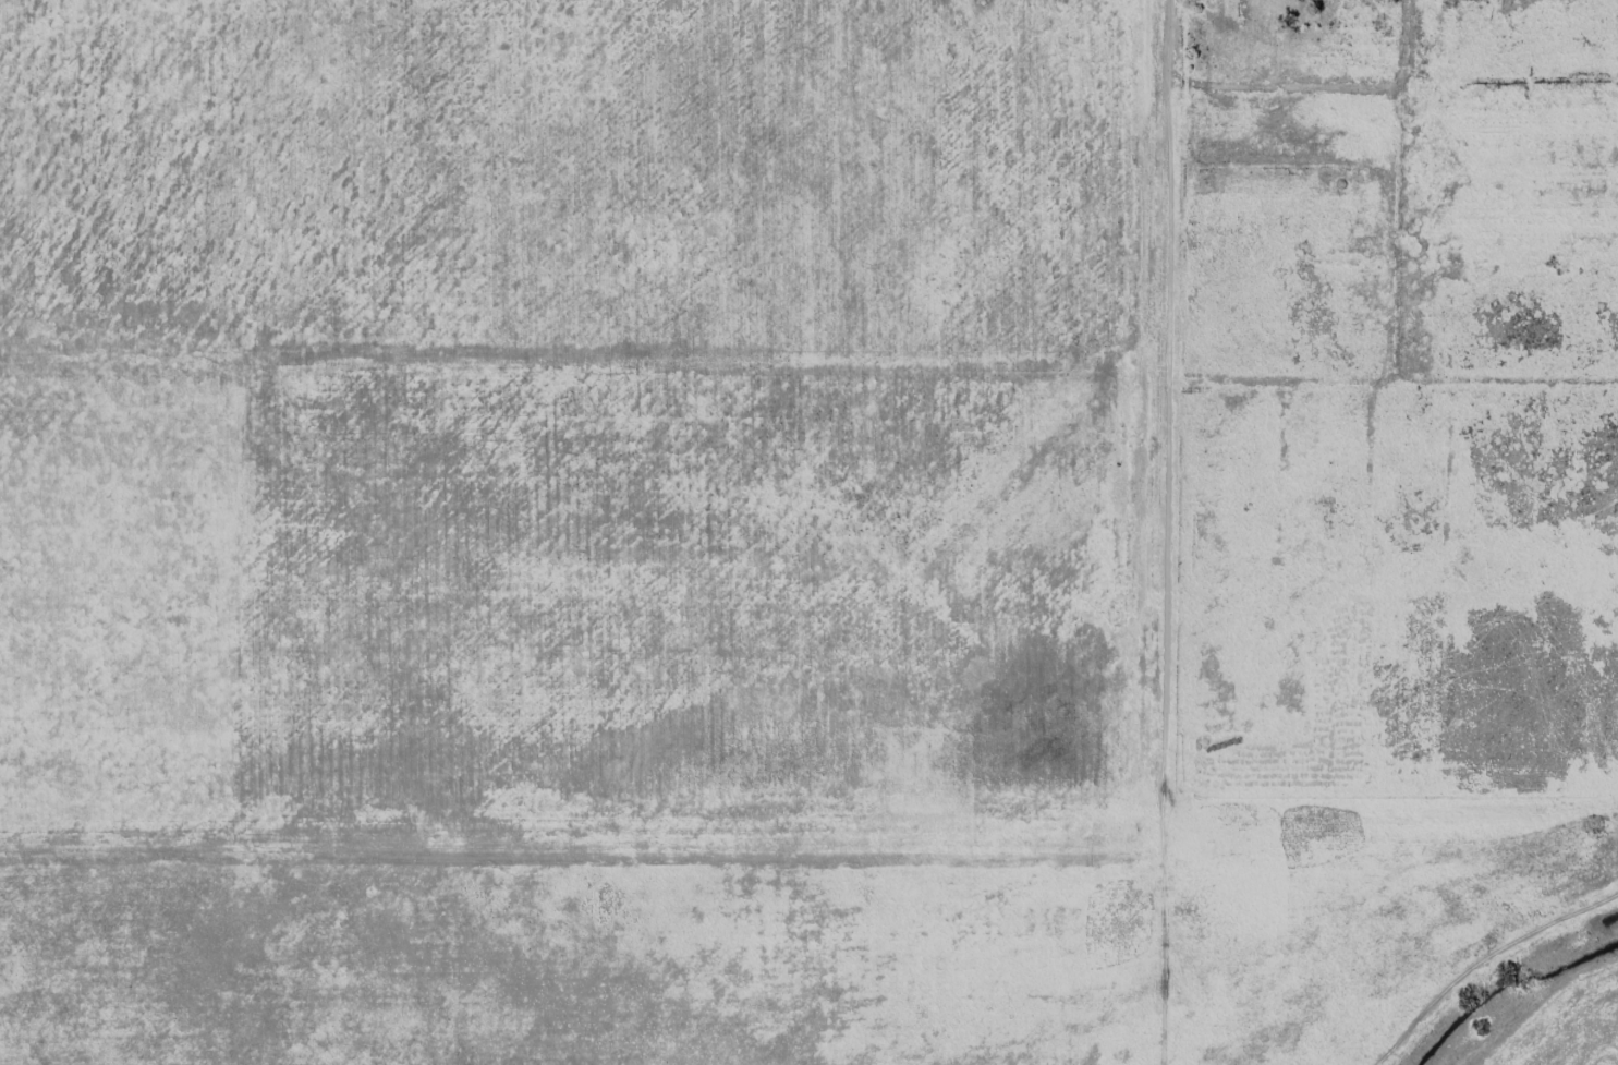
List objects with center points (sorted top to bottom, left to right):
river: (1519, 994)

